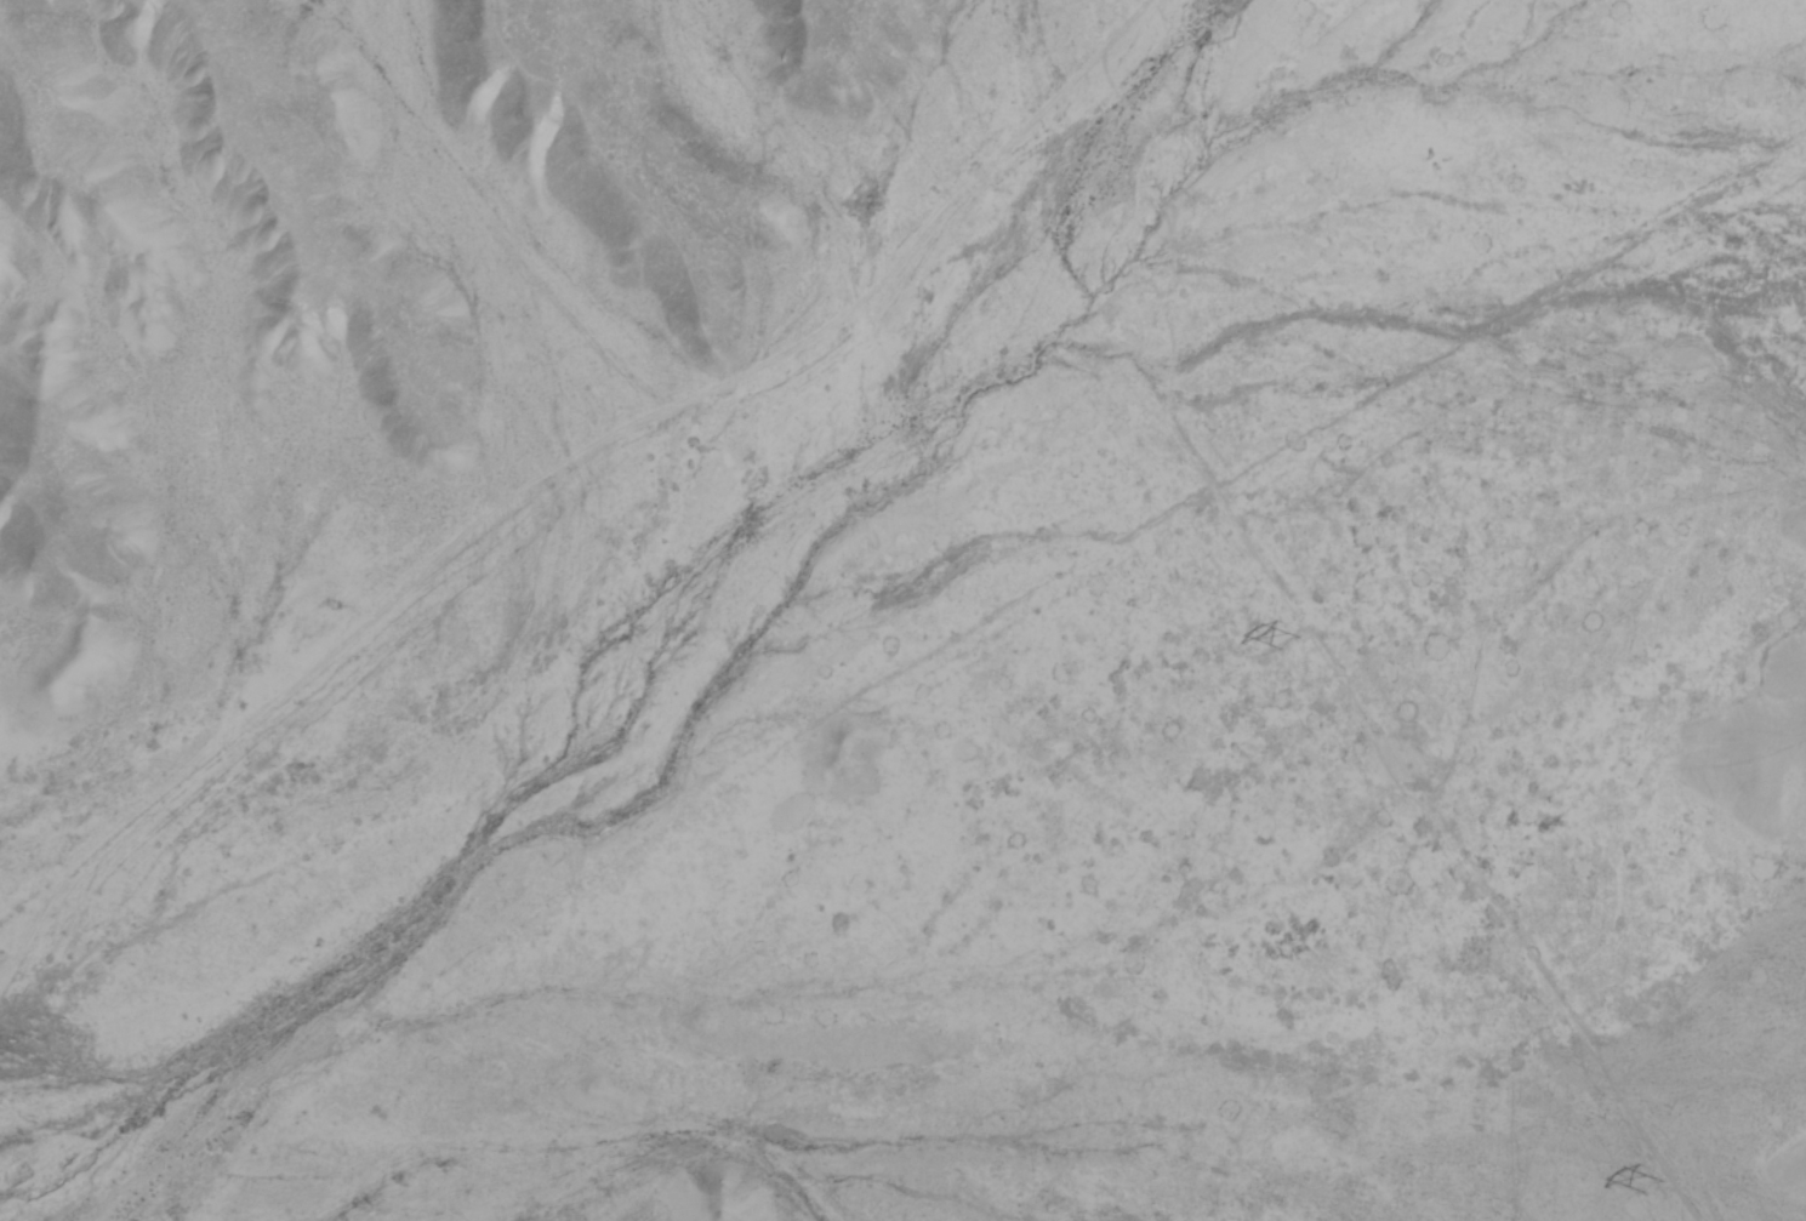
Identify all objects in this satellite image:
power tower: (1292, 634)
power tower: (1651, 1183)

